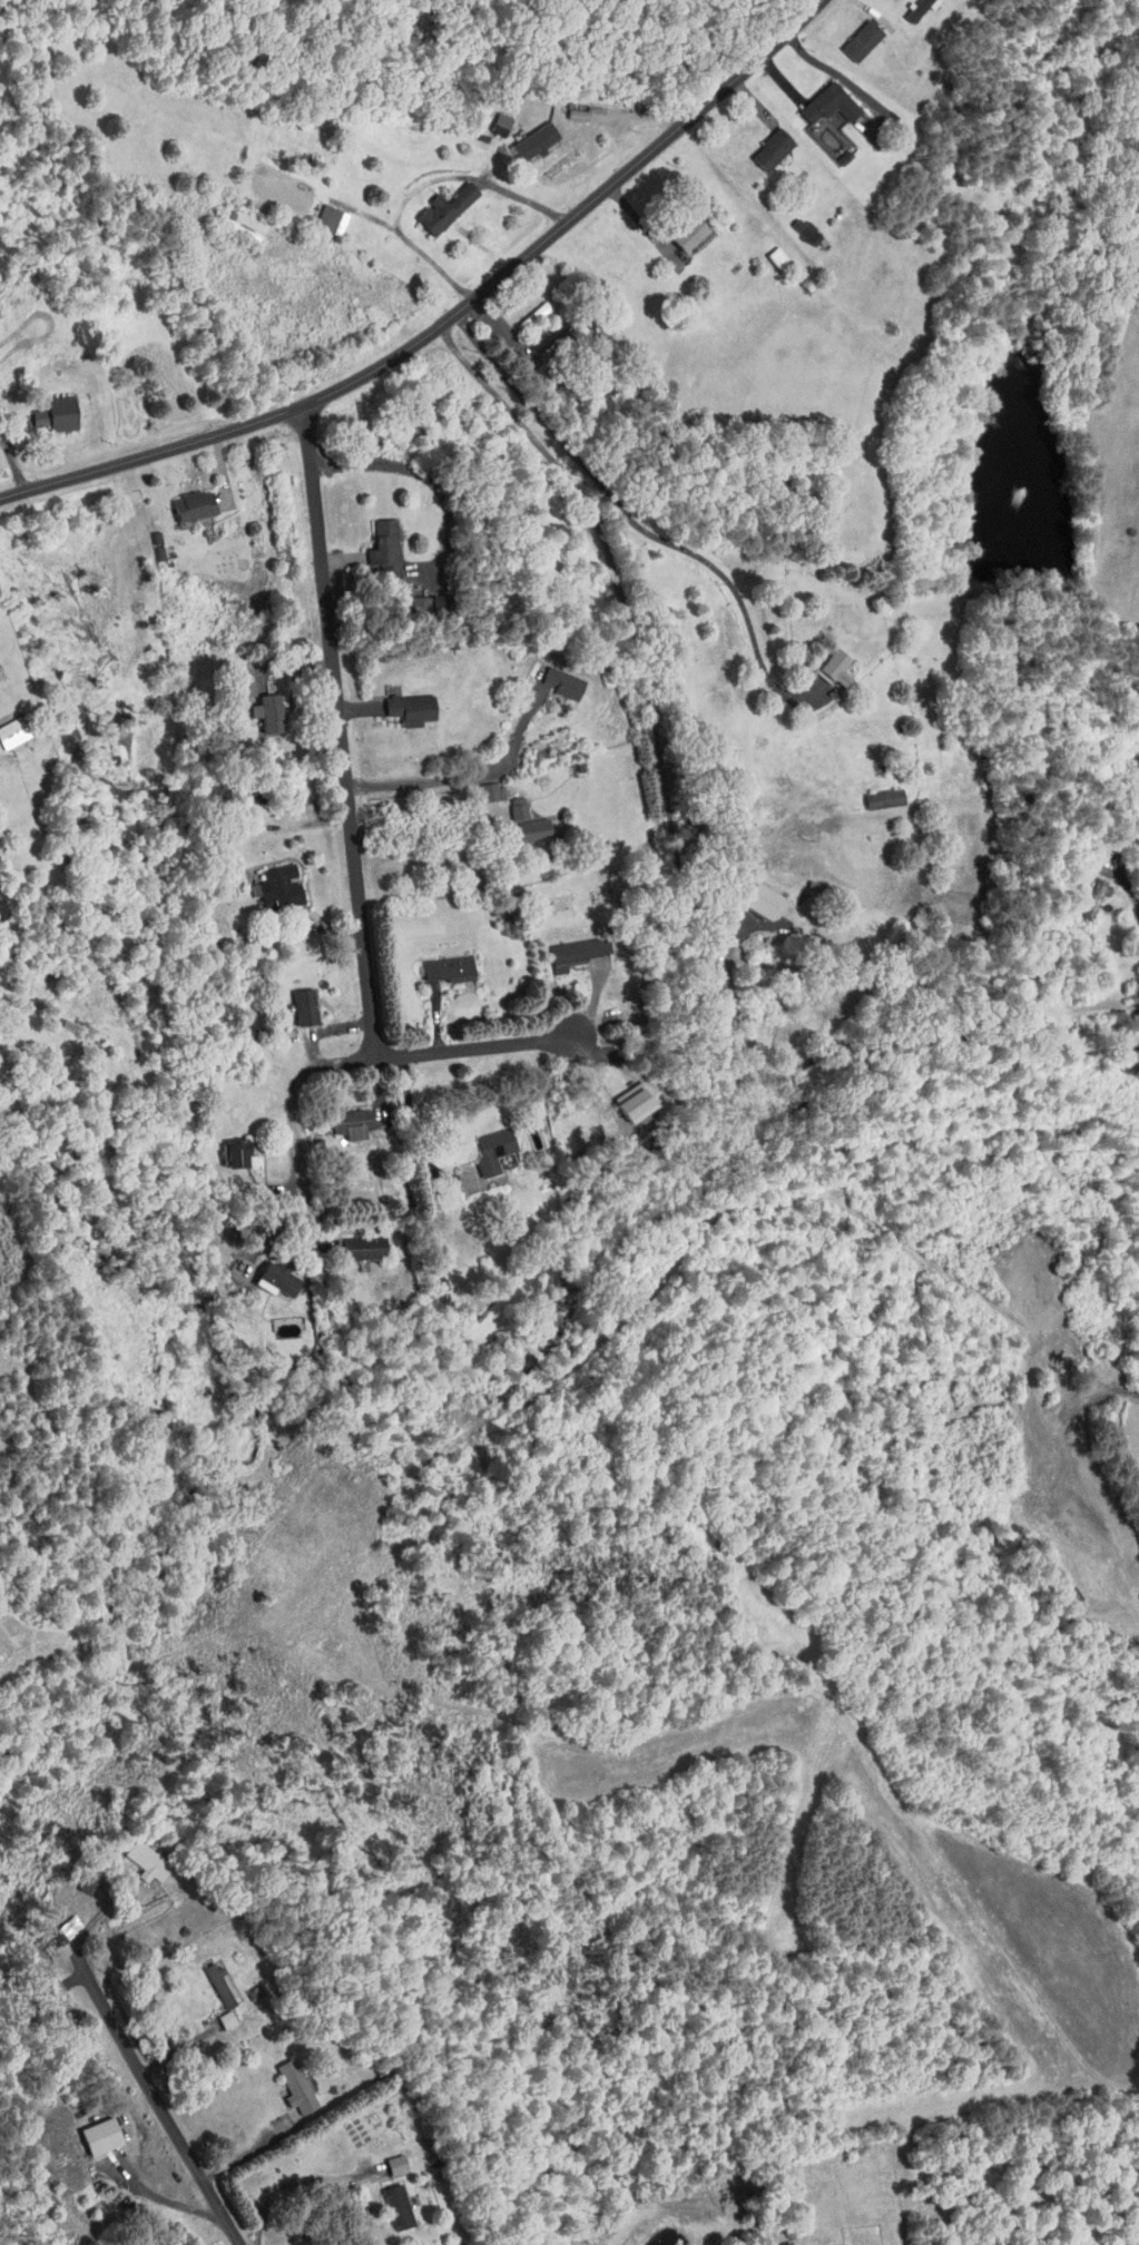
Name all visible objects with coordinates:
building: (903, 7)
road: (828, 68)
building: (816, 98)
building: (489, 118)
building: (522, 137)
building: (759, 144)
road: (422, 185)
building: (433, 203)
building: (318, 214)
building: (232, 218)
building: (676, 227)
building: (765, 252)
road: (449, 316)
building: (43, 408)
road: (425, 476)
building: (179, 501)
road: (637, 525)
building: (373, 543)
building: (423, 597)
building: (408, 598)
road: (630, 632)
building: (824, 661)
building: (550, 678)
building: (399, 703)
building: (255, 707)
building: (7, 726)
road: (337, 729)
road: (467, 780)
building: (480, 786)
building: (872, 792)
building: (505, 804)
road: (423, 819)
building: (520, 825)
building: (266, 882)
building: (747, 894)
road: (1132, 898)
building: (564, 946)
building: (436, 962)
building: (292, 1000)
road: (346, 1063)
building: (622, 1095)
building: (340, 1116)
road: (415, 1138)
building: (481, 1143)
building: (225, 1146)
building: (352, 1241)
building: (263, 1272)
building: (135, 1857)
building: (77, 1875)
building: (55, 1922)
building: (207, 1979)
building: (215, 2013)
building: (284, 2080)
road: (150, 2097)
building: (87, 2130)
road: (246, 2156)
building: (384, 2158)
road: (277, 2177)
road: (159, 2200)
building: (385, 2202)

